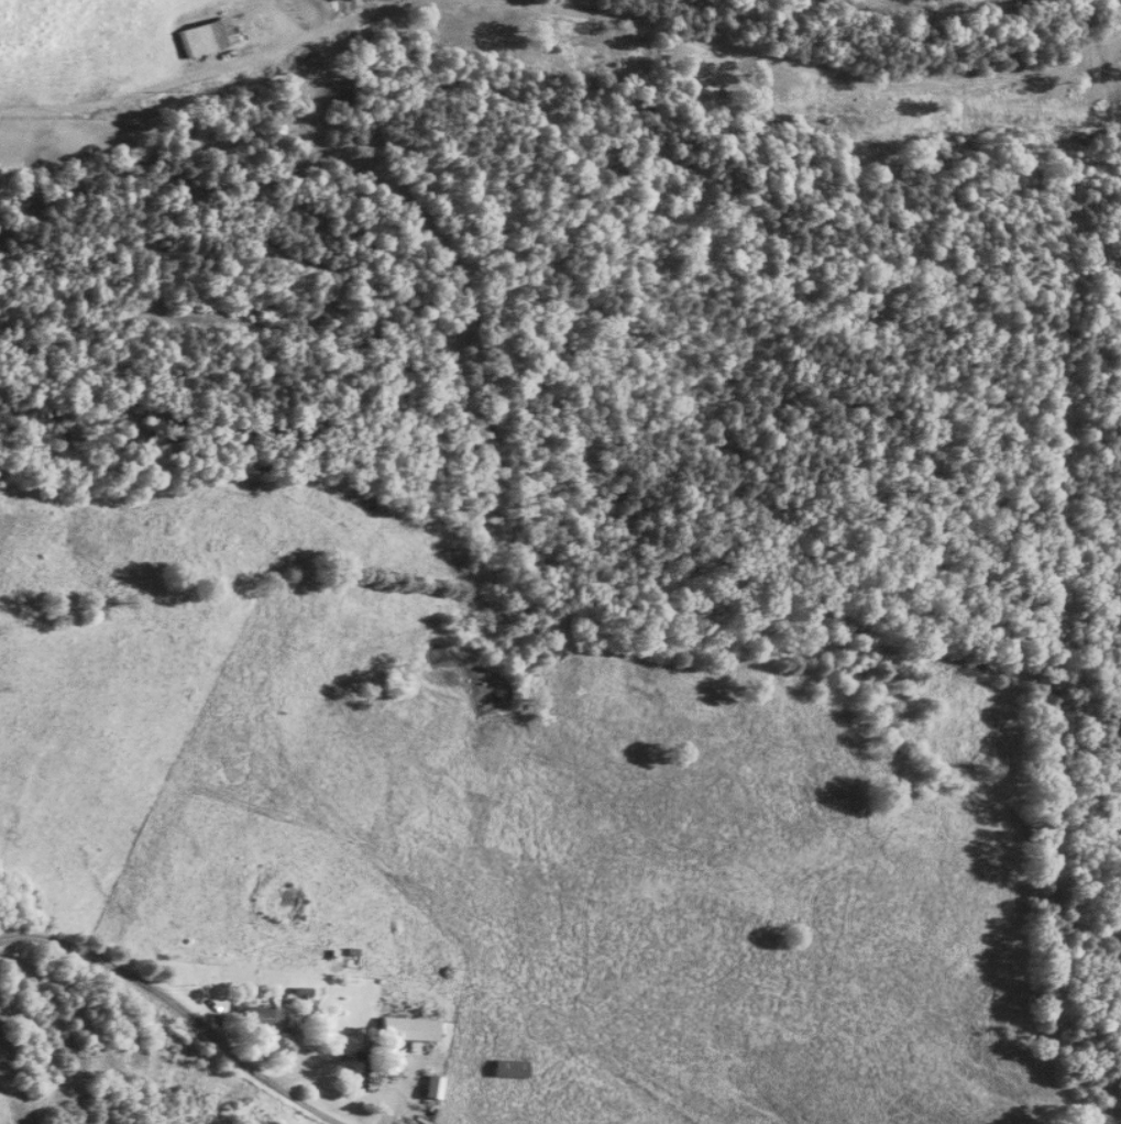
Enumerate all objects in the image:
building: (205, 37)
road: (223, 69)
road: (178, 1007)
building: (262, 1018)
building: (409, 1028)
building: (433, 1086)

